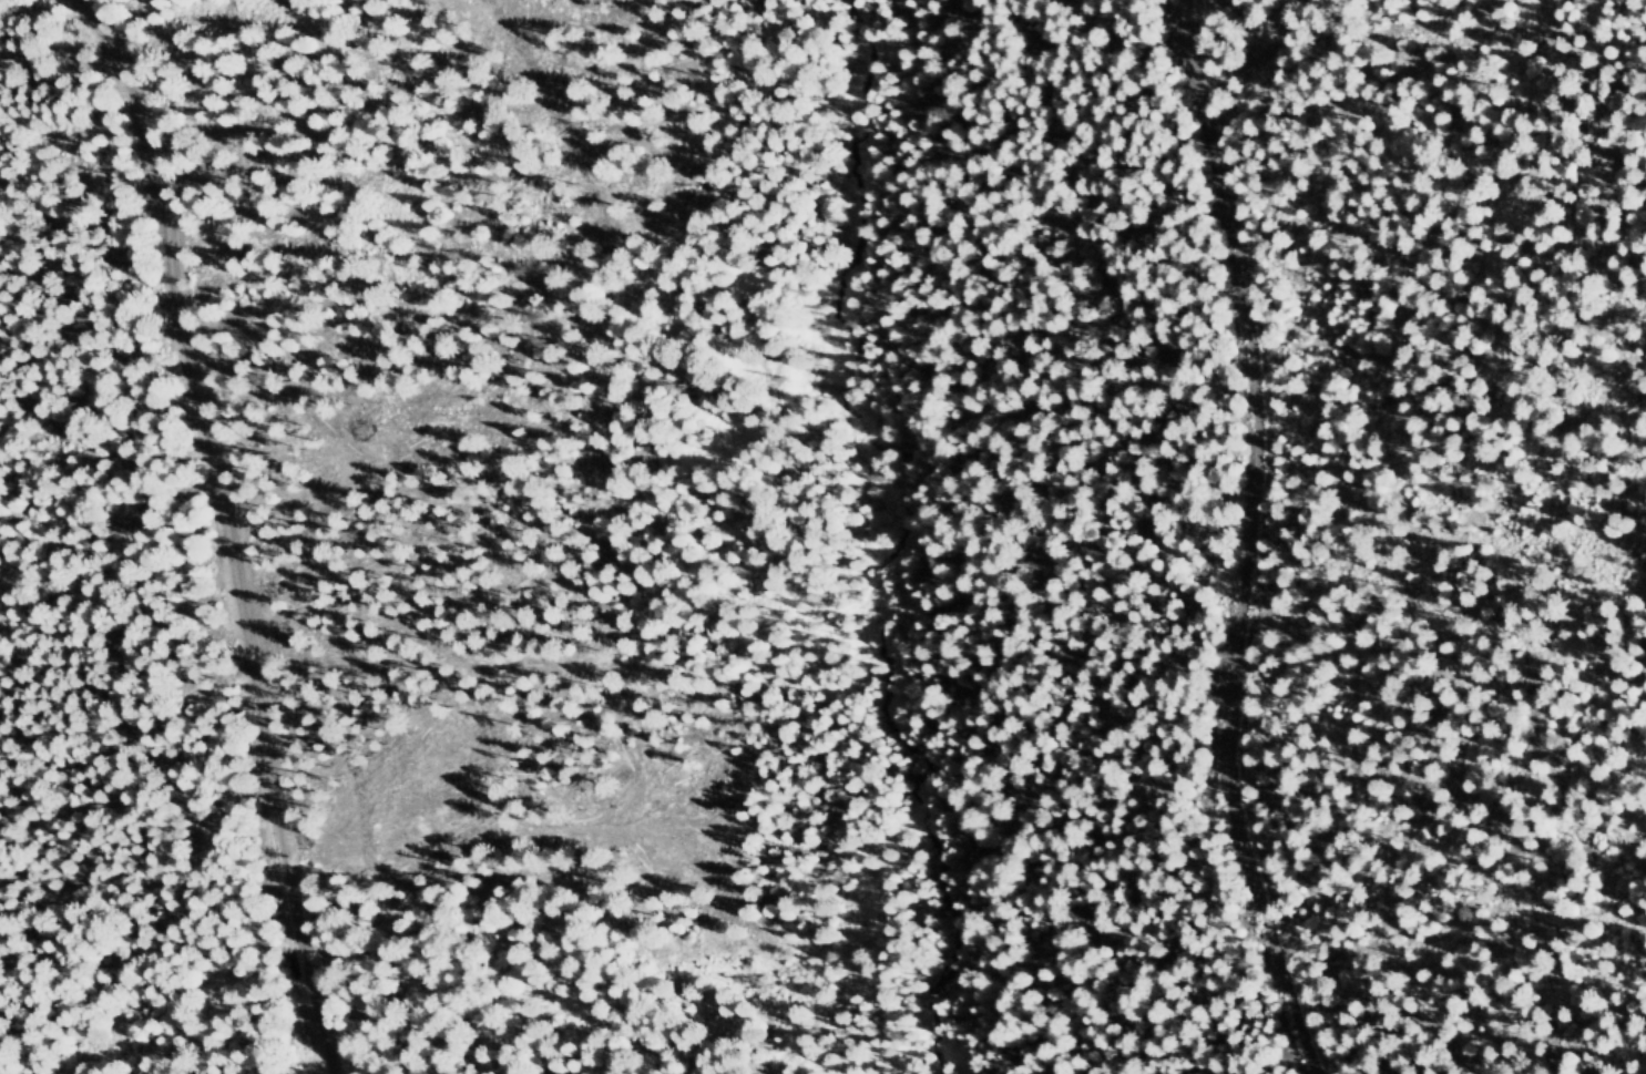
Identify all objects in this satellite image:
road: (248, 520)
road: (1259, 534)

